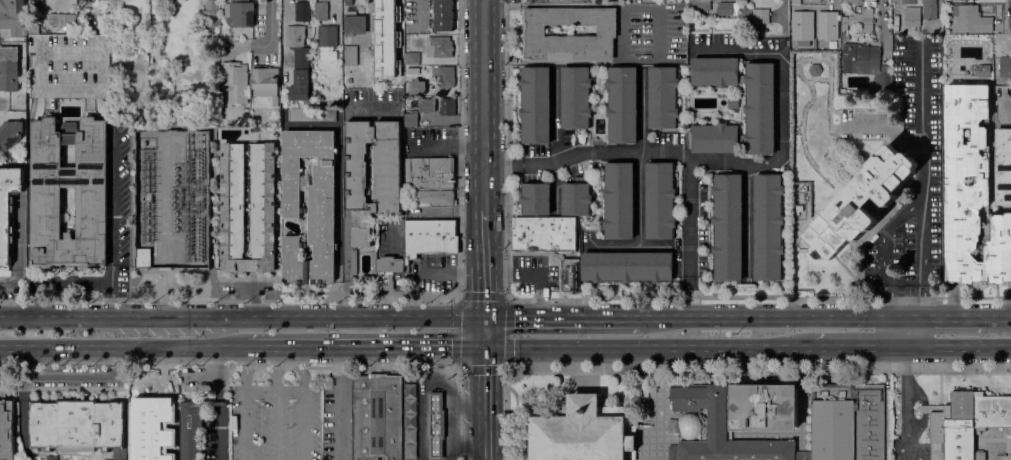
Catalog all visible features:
building: (348, 2)
building: (393, 2)
building: (855, 2)
building: (909, 2)
building: (700, 4)
road: (894, 6)
building: (727, 8)
building: (303, 11)
building: (320, 11)
building: (816, 11)
building: (210, 13)
building: (241, 14)
building: (443, 15)
building: (753, 15)
building: (917, 17)
building: (13, 18)
building: (971, 18)
building: (61, 20)
building: (854, 20)
road: (339, 21)
building: (867, 23)
building: (355, 24)
building: (801, 25)
road: (270, 28)
building: (534, 30)
building: (82, 31)
building: (755, 31)
road: (623, 32)
road: (659, 32)
building: (392, 33)
building: (833, 34)
building: (845, 34)
building: (295, 36)
building: (328, 36)
building: (222, 37)
road: (282, 39)
building: (799, 44)
building: (439, 46)
building: (351, 55)
building: (863, 57)
building: (412, 58)
building: (1005, 66)
building: (9, 70)
building: (69, 70)
building: (814, 70)
building: (983, 70)
building: (444, 75)
building: (386, 77)
building: (882, 80)
building: (235, 81)
building: (857, 81)
building: (265, 83)
building: (299, 85)
building: (417, 86)
building: (576, 97)
building: (663, 97)
building: (733, 102)
building: (1002, 103)
road: (483, 104)
building: (536, 104)
building: (426, 105)
building: (622, 105)
building: (447, 106)
road: (642, 107)
building: (759, 108)
building: (311, 115)
road: (921, 118)
building: (411, 119)
building: (10, 133)
road: (555, 138)
road: (459, 147)
road: (508, 147)
road: (586, 149)
road: (751, 158)
building: (1003, 166)
road: (344, 168)
building: (429, 173)
building: (972, 193)
power substation: (172, 196)
building: (576, 196)
building: (536, 197)
building: (434, 198)
building: (387, 199)
building: (619, 200)
building: (660, 200)
road: (914, 202)
building: (860, 203)
building: (248, 206)
building: (309, 206)
building: (8, 209)
building: (92, 209)
building: (798, 209)
road: (115, 215)
road: (637, 220)
building: (728, 226)
building: (768, 227)
building: (543, 234)
building: (429, 237)
road: (483, 238)
road: (653, 243)
building: (144, 257)
building: (626, 266)
road: (537, 267)
building: (388, 271)
building: (570, 275)
road: (72, 284)
road: (483, 293)
road: (344, 297)
road: (231, 301)
road: (776, 317)
road: (945, 317)
road: (998, 317)
road: (564, 318)
road: (241, 319)
traffic signals: (483, 319)
road: (906, 330)
road: (482, 331)
road: (364, 344)
traffic signals: (482, 344)
road: (648, 344)
road: (860, 344)
road: (958, 344)
road: (123, 345)
road: (457, 367)
road: (71, 372)
road: (214, 374)
road: (915, 393)
building: (408, 399)
road: (247, 402)
road: (274, 402)
road: (303, 402)
road: (339, 402)
road: (482, 402)
road: (906, 402)
road: (925, 409)
building: (377, 417)
road: (23, 418)
building: (777, 421)
building: (966, 422)
building: (145, 425)
building: (436, 425)
building: (79, 426)
building: (193, 428)
building: (6, 430)
road: (920, 430)
building: (582, 431)
road: (222, 434)
building: (161, 455)
building: (52, 457)

